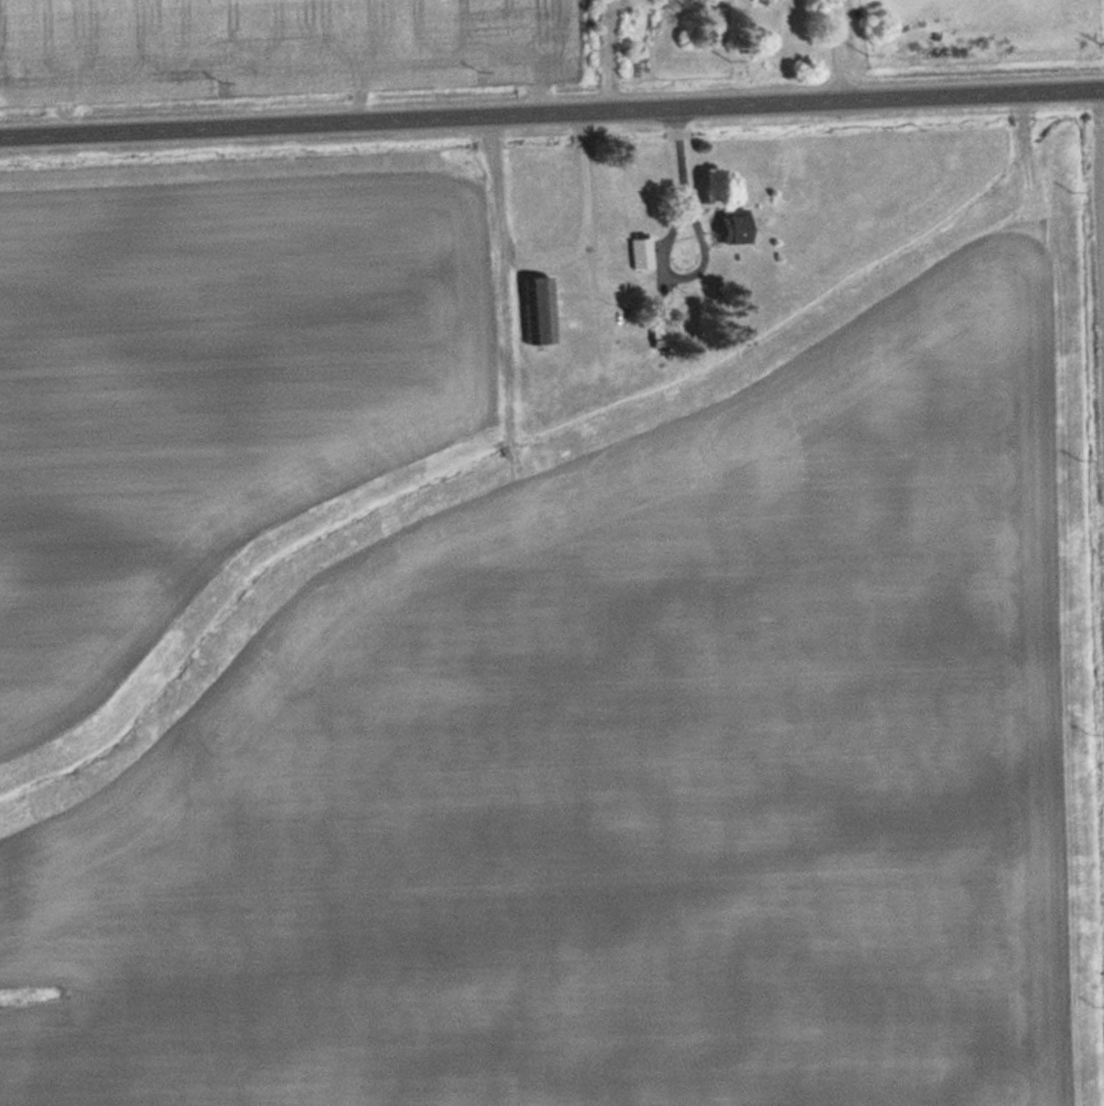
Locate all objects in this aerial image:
road: (551, 111)
building: (738, 226)
building: (642, 252)
building: (539, 310)
building: (666, 332)

